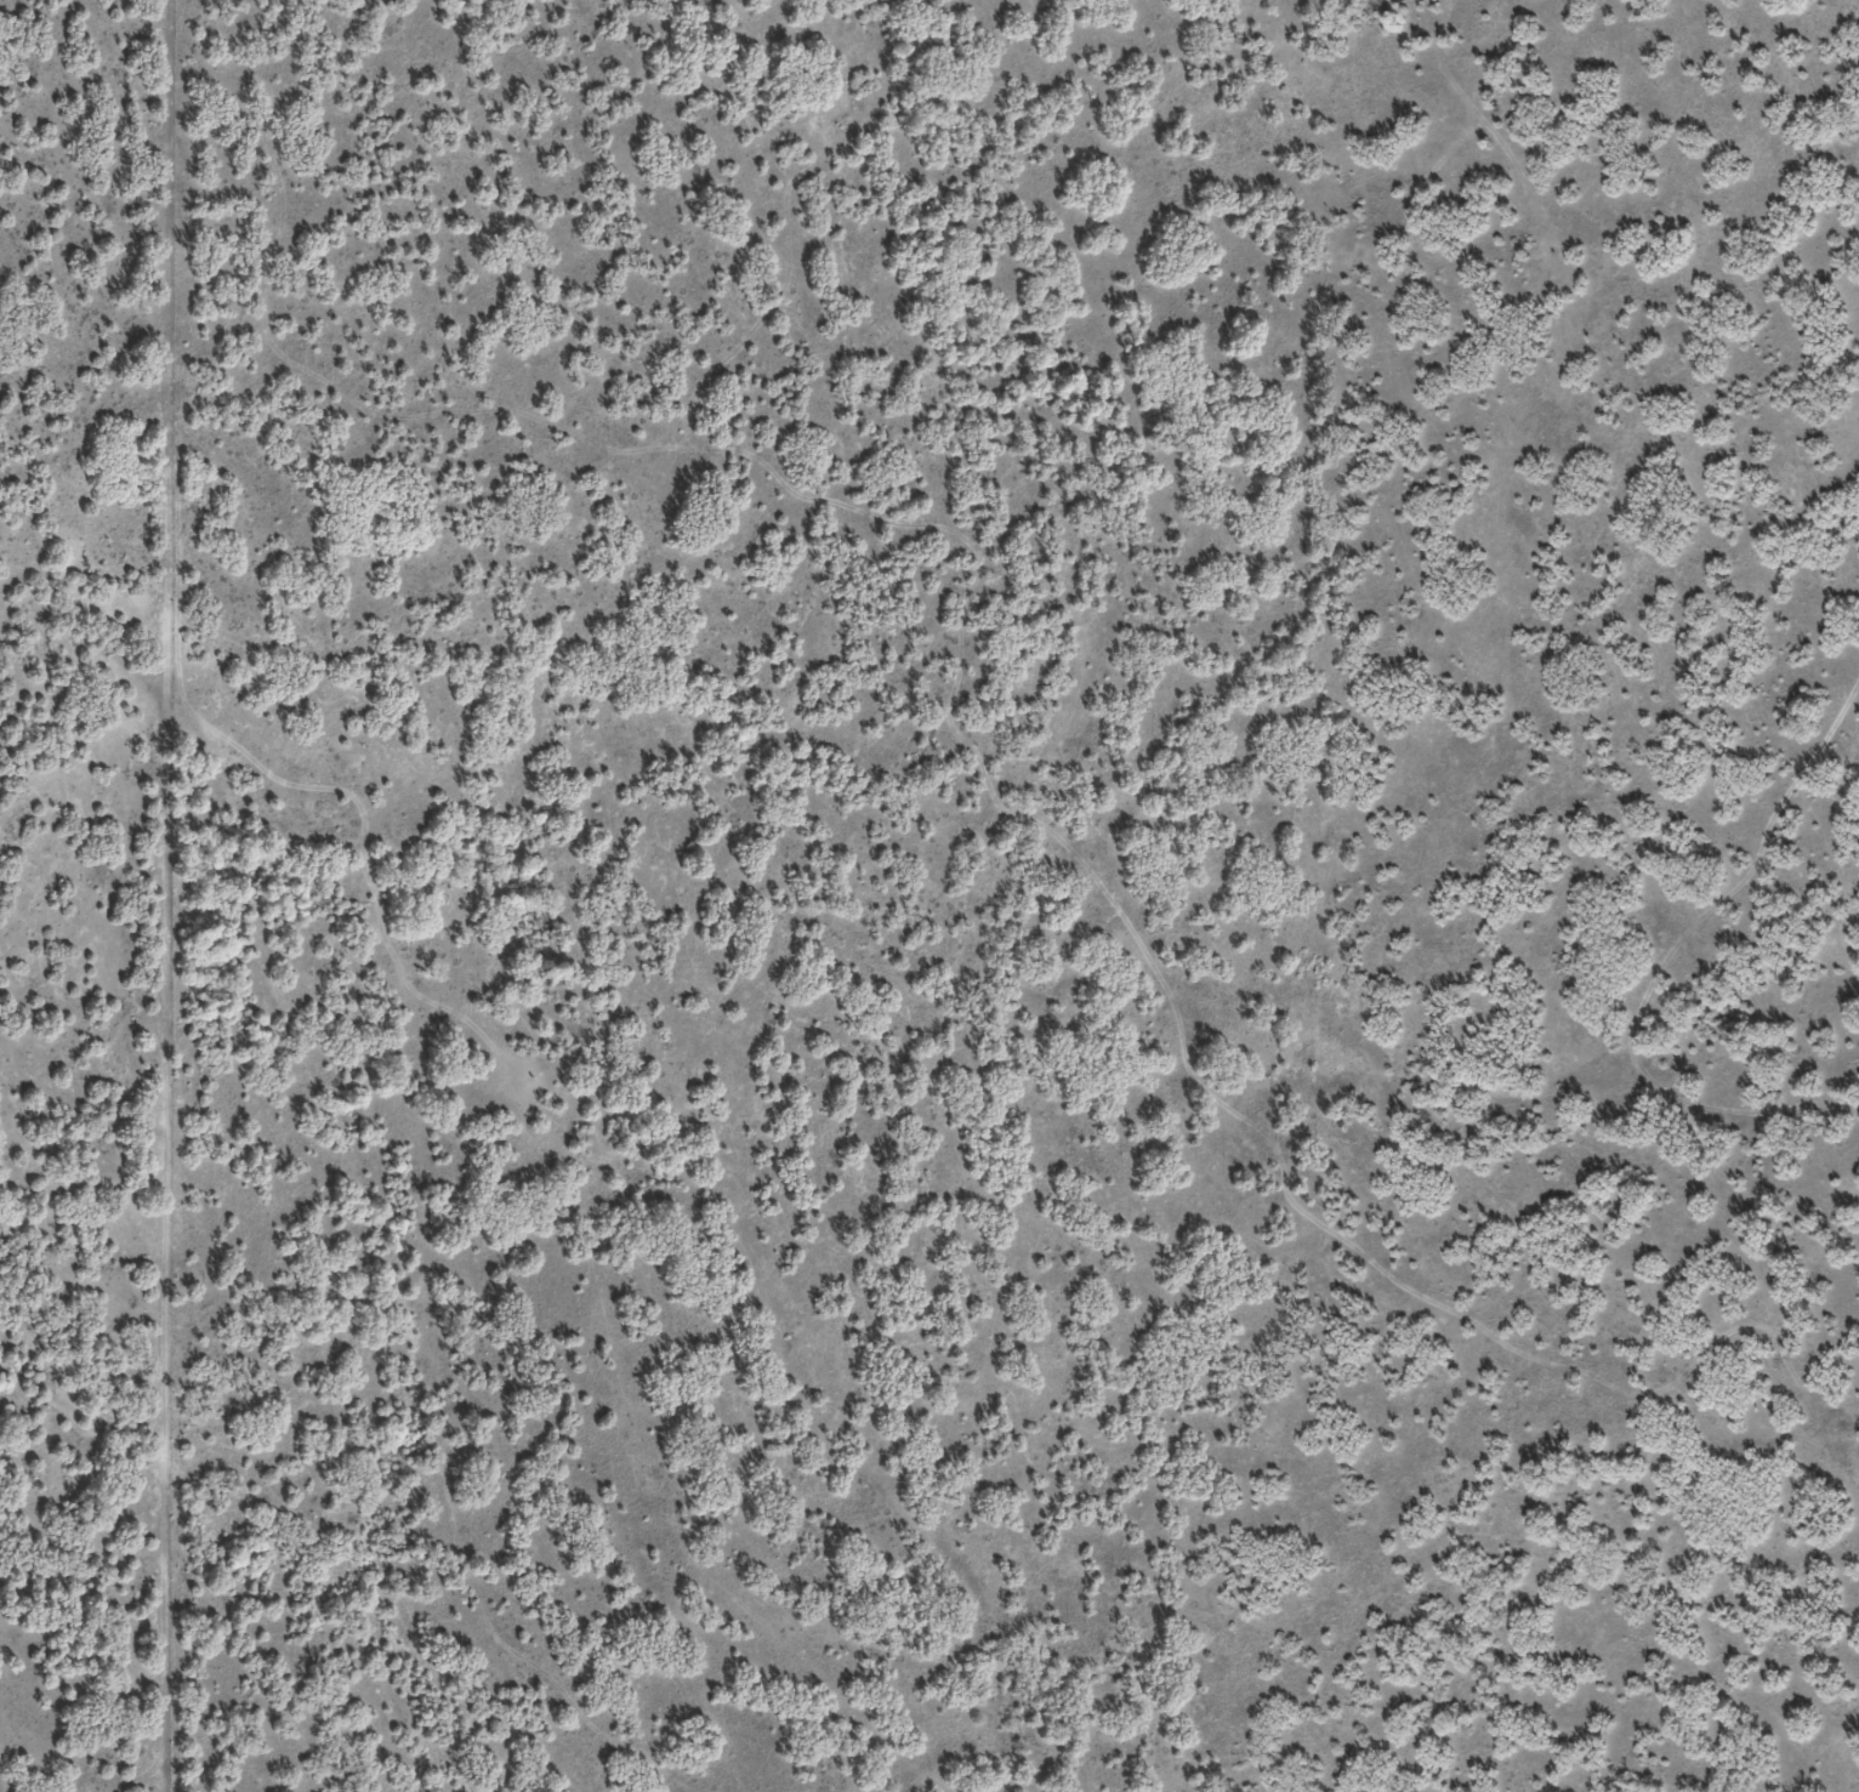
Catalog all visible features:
road: (1696, 934)

